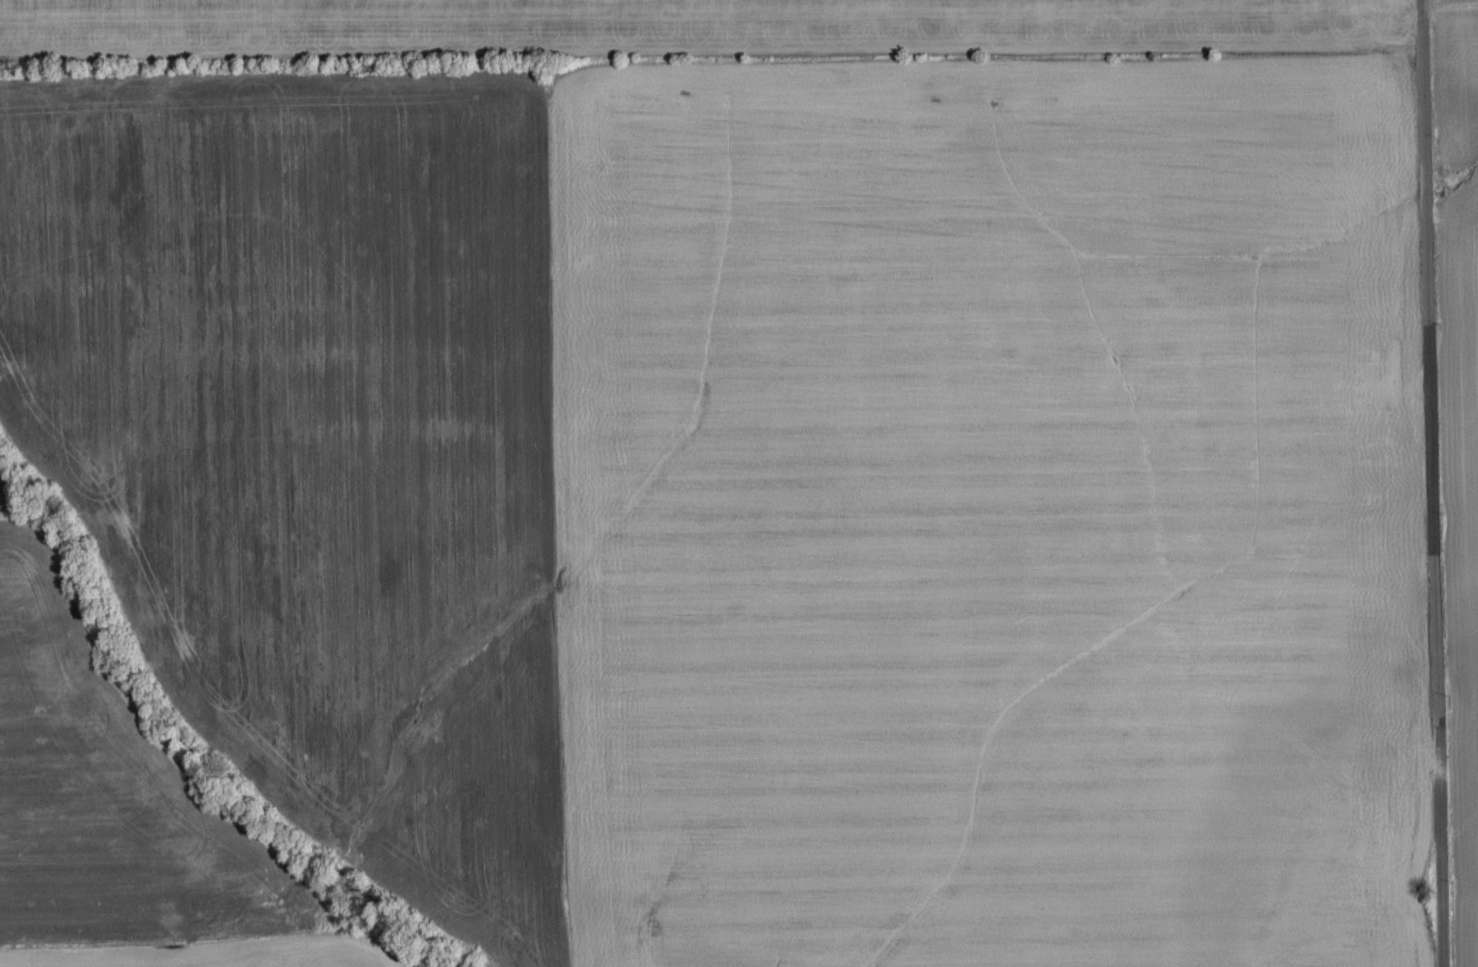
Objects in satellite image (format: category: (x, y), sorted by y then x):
road: (1432, 483)

